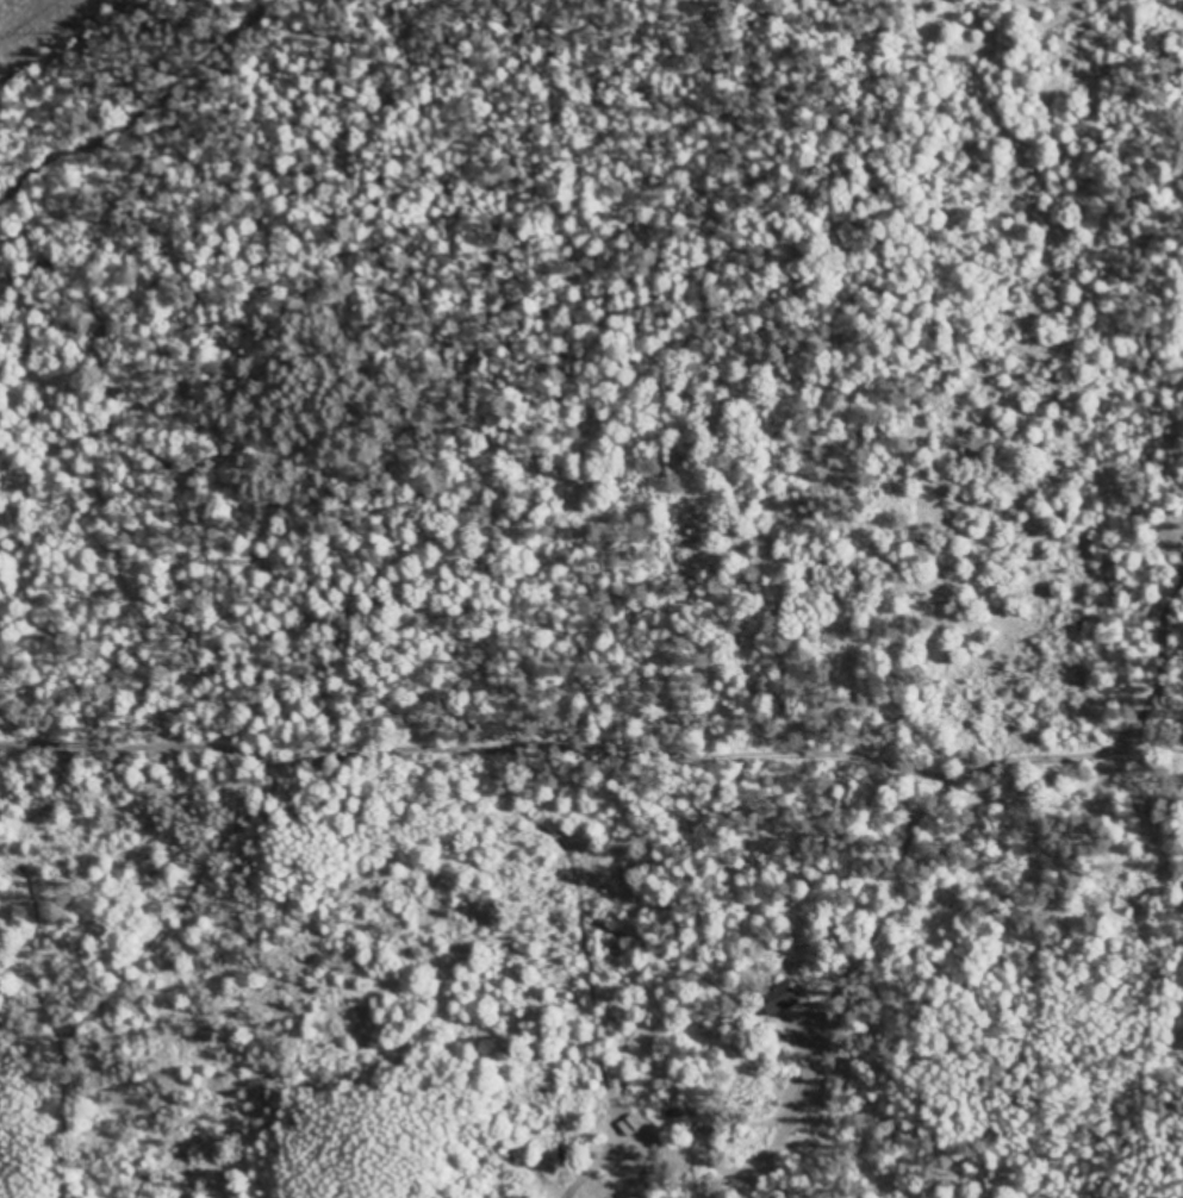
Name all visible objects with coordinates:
road: (120, 100)
building: (786, 997)
road: (824, 1168)

